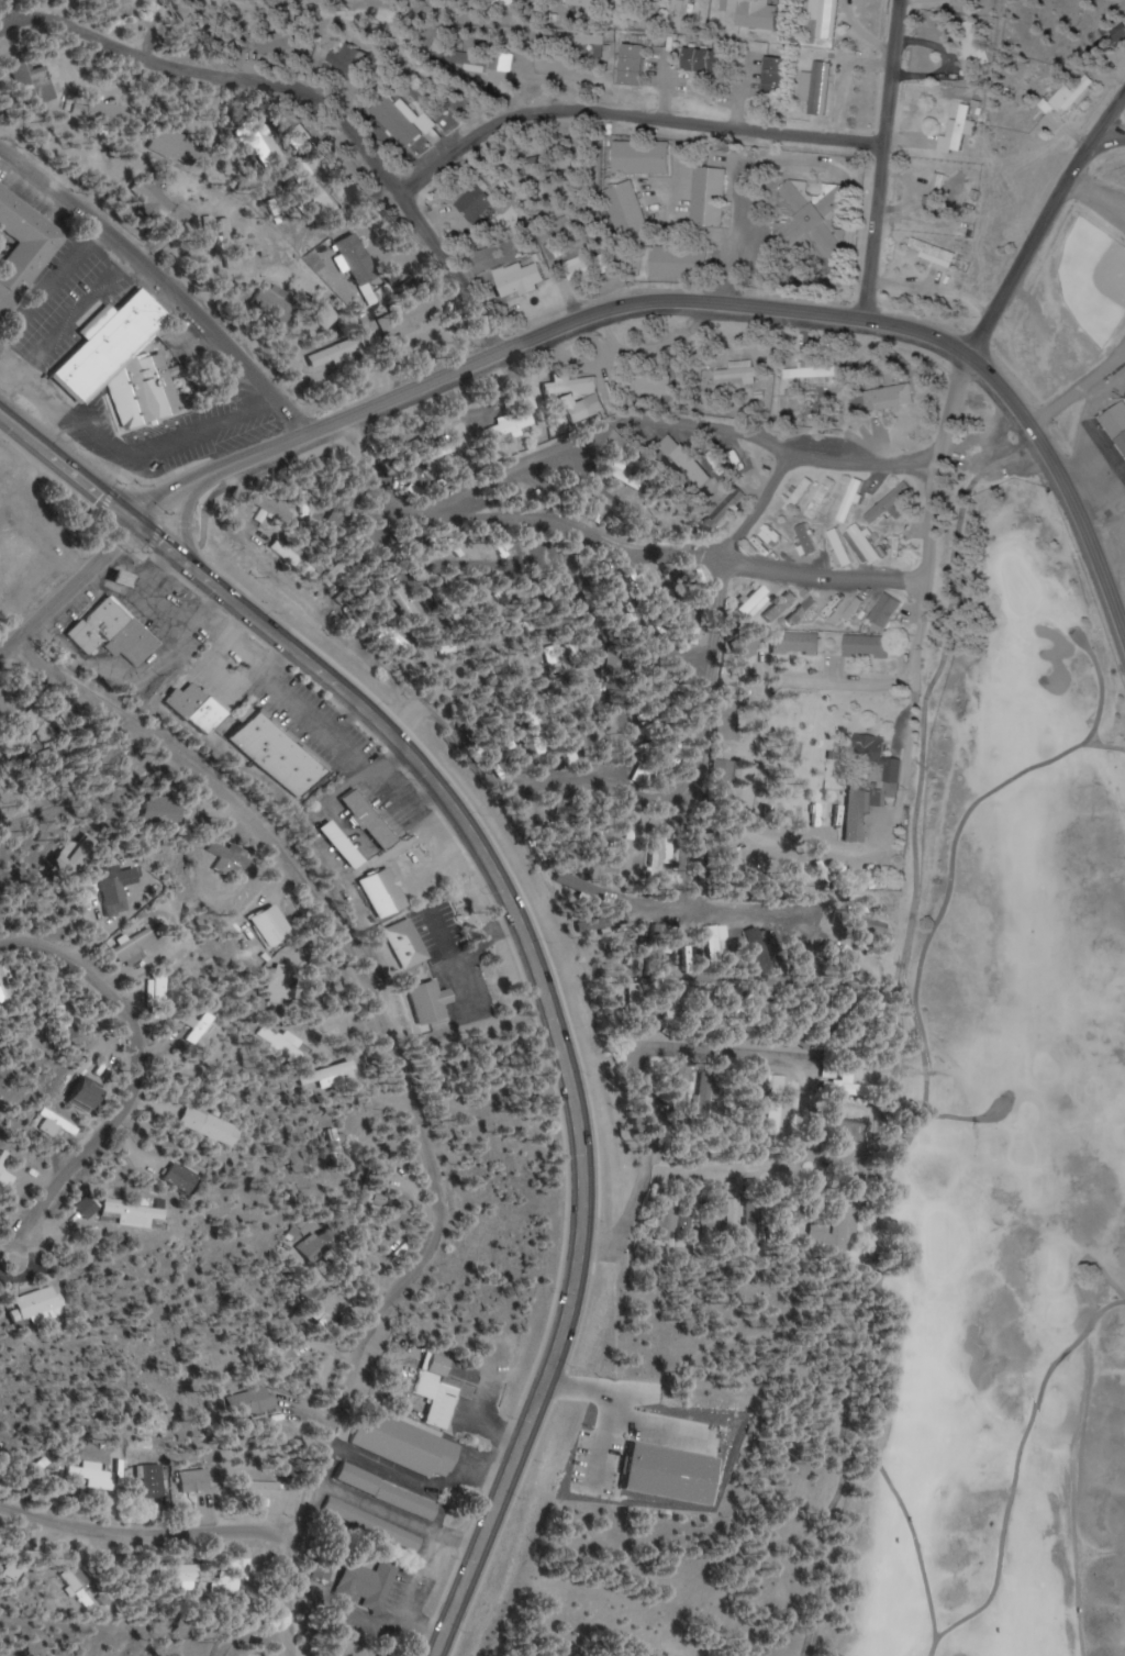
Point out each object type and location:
building: (521, 1)
building: (593, 3)
building: (681, 5)
building: (756, 13)
building: (826, 19)
building: (600, 41)
building: (976, 54)
building: (350, 60)
building: (502, 62)
building: (710, 62)
building: (638, 65)
building: (780, 79)
building: (35, 84)
building: (821, 85)
road: (304, 93)
building: (1062, 105)
building: (98, 111)
road: (630, 118)
building: (416, 122)
road: (1112, 133)
building: (177, 146)
building: (644, 158)
road: (880, 159)
building: (554, 167)
building: (310, 192)
building: (944, 193)
building: (713, 198)
building: (164, 204)
building: (479, 205)
building: (632, 210)
building: (815, 216)
road: (1045, 224)
building: (227, 243)
building: (23, 251)
building: (935, 253)
building: (367, 254)
building: (682, 264)
building: (587, 267)
road: (163, 279)
park: (1093, 279)
building: (521, 280)
park: (1070, 297)
road: (694, 304)
building: (328, 318)
road: (582, 330)
building: (338, 353)
building: (126, 360)
building: (814, 370)
building: (738, 373)
building: (560, 382)
building: (659, 389)
building: (899, 396)
building: (512, 424)
building: (1115, 424)
building: (454, 446)
building: (723, 459)
road: (928, 459)
building: (669, 470)
building: (625, 475)
building: (412, 481)
building: (609, 499)
building: (851, 500)
building: (895, 502)
building: (488, 503)
building: (727, 507)
building: (341, 510)
traffic signals: (134, 515)
road: (189, 527)
building: (869, 546)
road: (795, 547)
building: (839, 547)
road: (1081, 548)
building: (15, 557)
building: (342, 564)
building: (123, 576)
gas station: (123, 576)
road: (67, 582)
building: (749, 607)
building: (861, 609)
building: (888, 610)
building: (691, 625)
building: (116, 632)
building: (798, 643)
building: (750, 645)
building: (867, 646)
road: (1100, 688)
building: (202, 712)
building: (732, 718)
building: (278, 754)
building: (725, 775)
building: (858, 788)
building: (161, 810)
building: (369, 816)
building: (345, 843)
building: (659, 852)
building: (233, 858)
building: (385, 890)
building: (114, 894)
building: (276, 921)
building: (860, 924)
road: (528, 936)
building: (720, 940)
building: (410, 943)
building: (137, 944)
building: (762, 953)
building: (854, 968)
building: (434, 1001)
building: (739, 1014)
road: (387, 1020)
road: (895, 1030)
building: (283, 1041)
building: (805, 1041)
road: (137, 1070)
building: (334, 1075)
building: (686, 1079)
building: (760, 1082)
building: (854, 1088)
building: (712, 1090)
building: (784, 1105)
road: (960, 1120)
building: (63, 1123)
building: (208, 1124)
building: (853, 1130)
park: (999, 1136)
building: (336, 1137)
road: (912, 1137)
building: (4, 1162)
building: (181, 1177)
building: (739, 1200)
building: (378, 1204)
building: (90, 1207)
building: (134, 1211)
building: (681, 1219)
building: (758, 1219)
building: (836, 1229)
building: (327, 1242)
road: (1081, 1263)
building: (315, 1293)
building: (44, 1302)
building: (449, 1387)
building: (259, 1402)
building: (411, 1444)
road: (1017, 1472)
building: (99, 1478)
building: (198, 1480)
building: (267, 1490)
building: (392, 1492)
building: (377, 1524)
road: (146, 1533)
building: (327, 1567)
building: (187, 1572)
building: (236, 1574)
building: (370, 1585)
building: (83, 1588)
road: (289, 1593)

